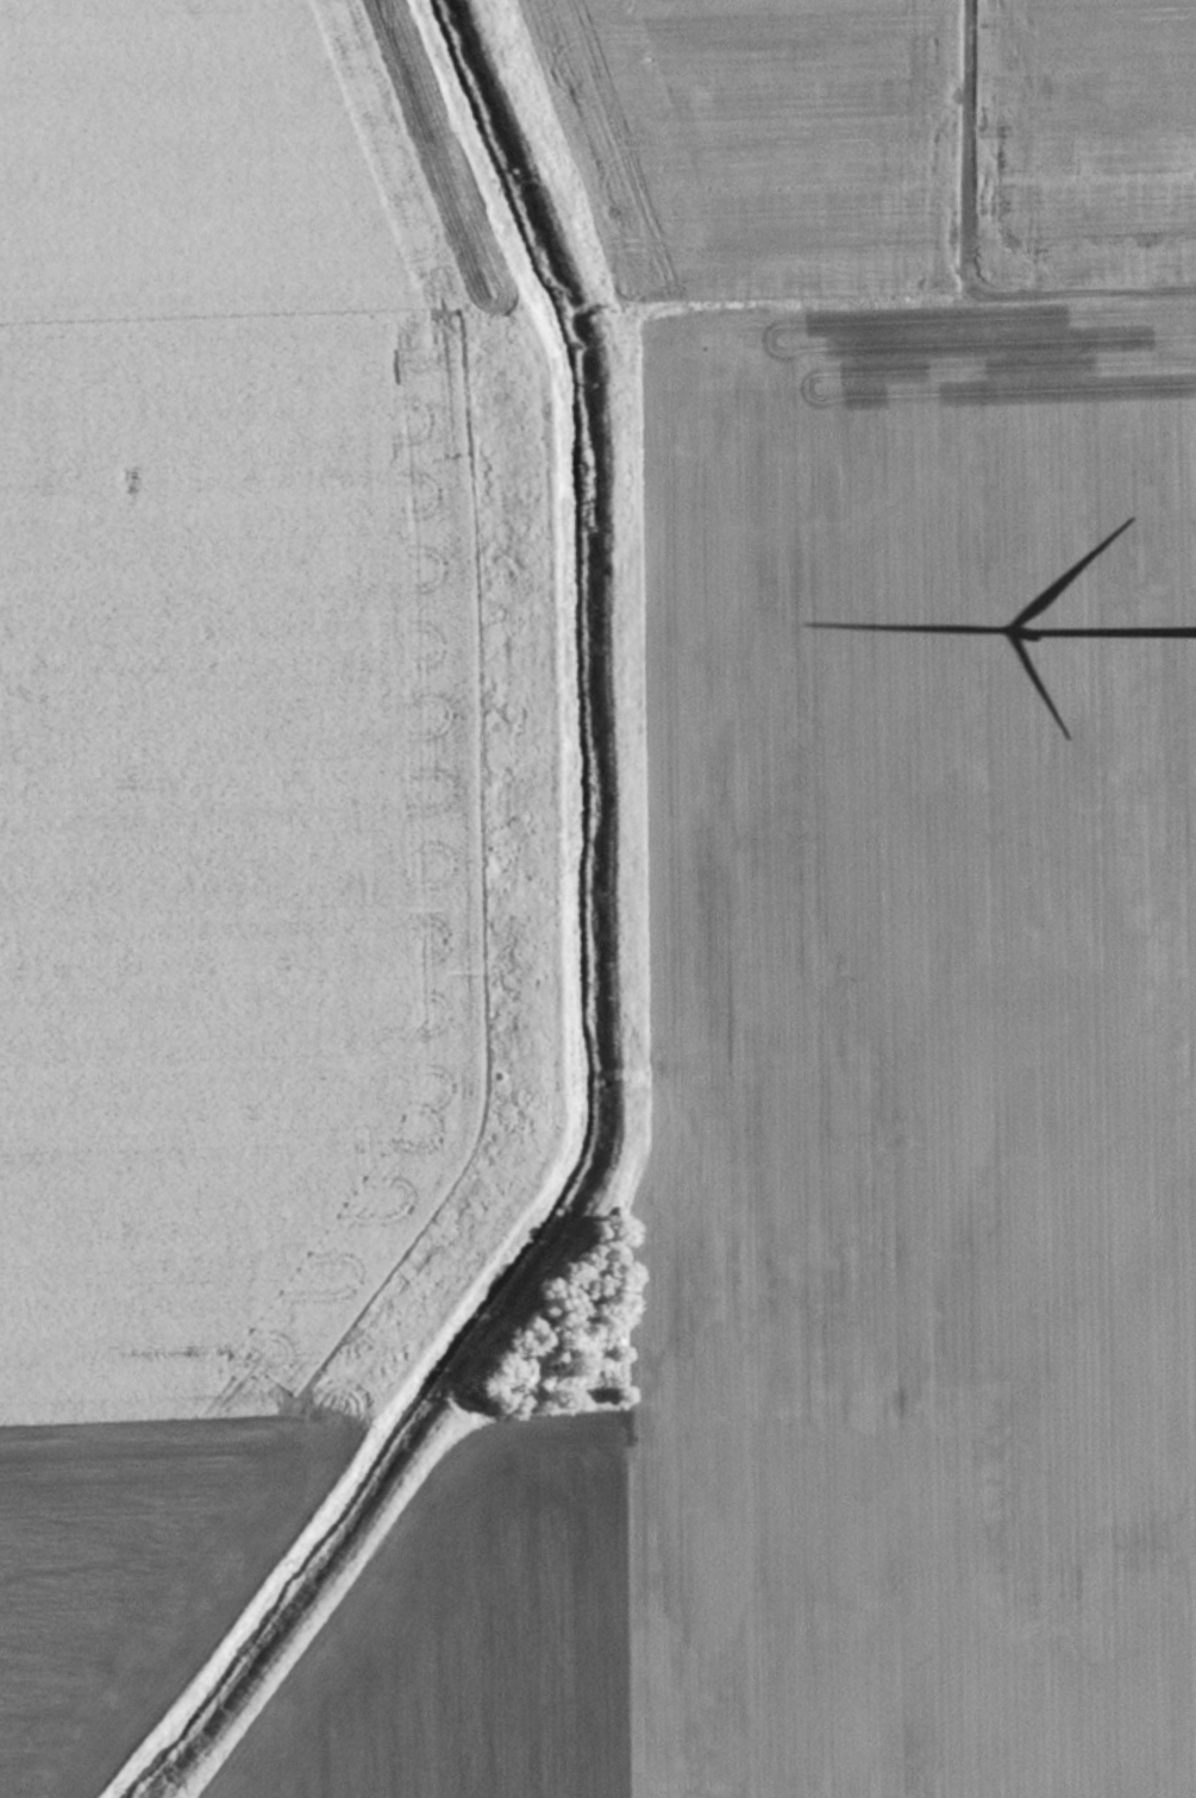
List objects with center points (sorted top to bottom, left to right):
road: (956, 268)

